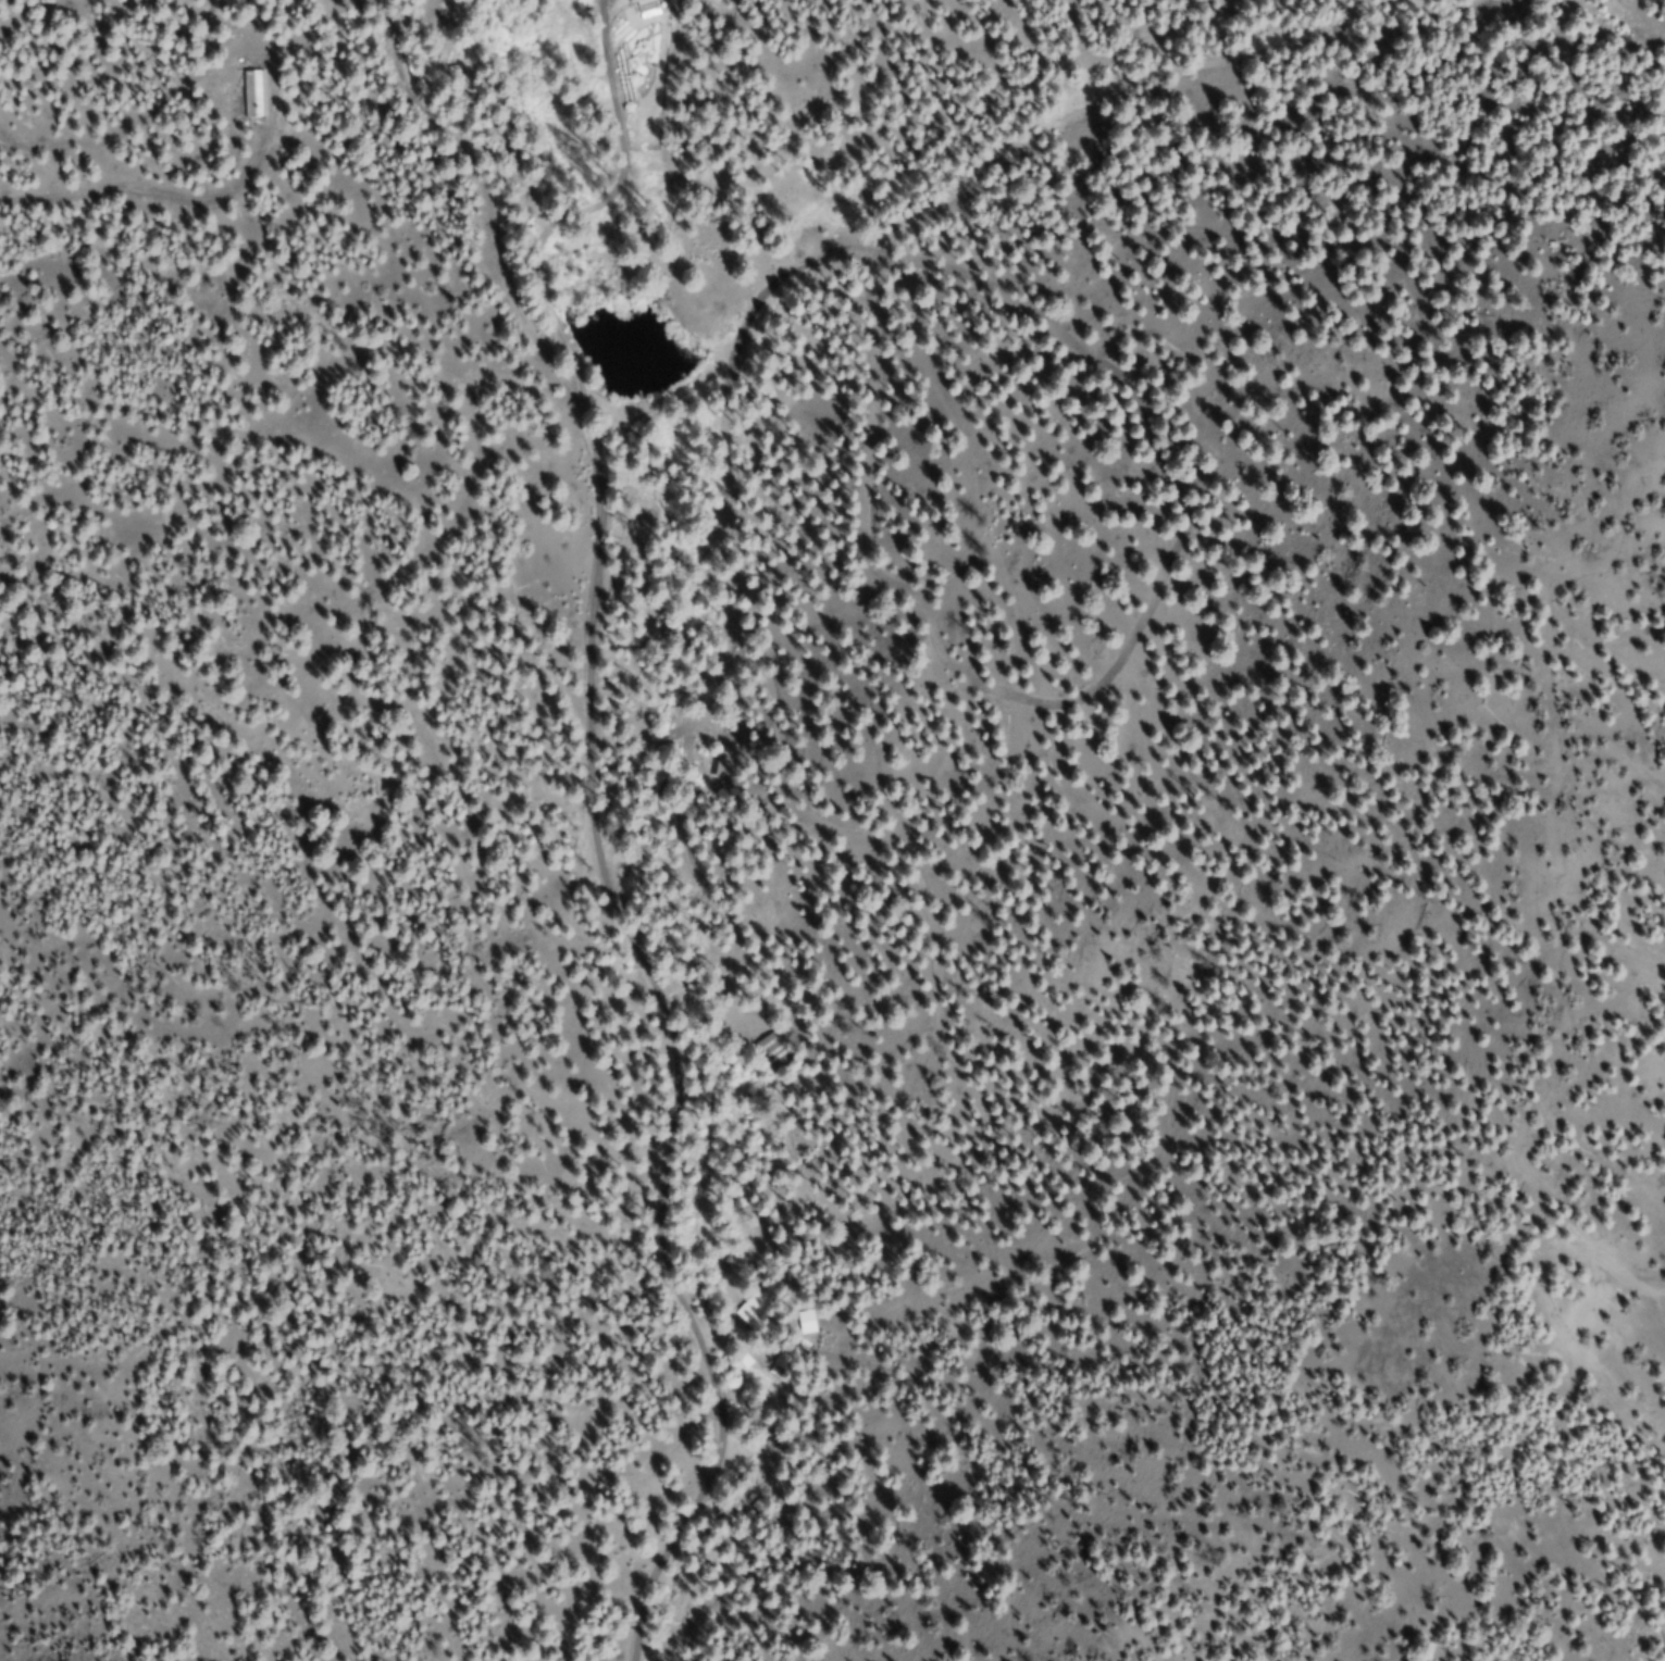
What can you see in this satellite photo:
building: (646, 9)
road: (632, 821)
building: (772, 1051)
building: (757, 1306)
building: (784, 1362)

